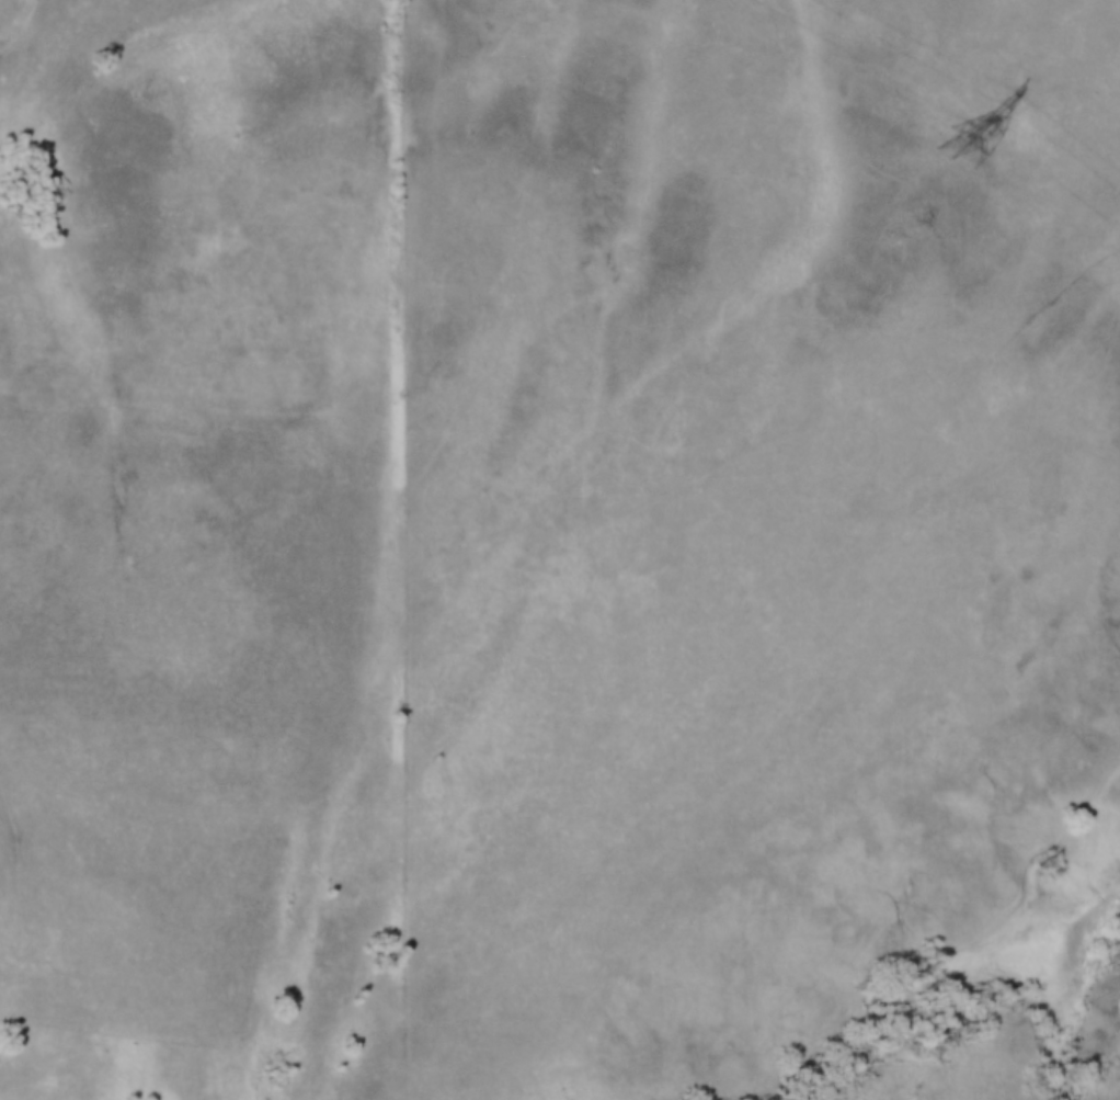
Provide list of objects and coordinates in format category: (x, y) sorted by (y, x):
power tower: (950, 146)

